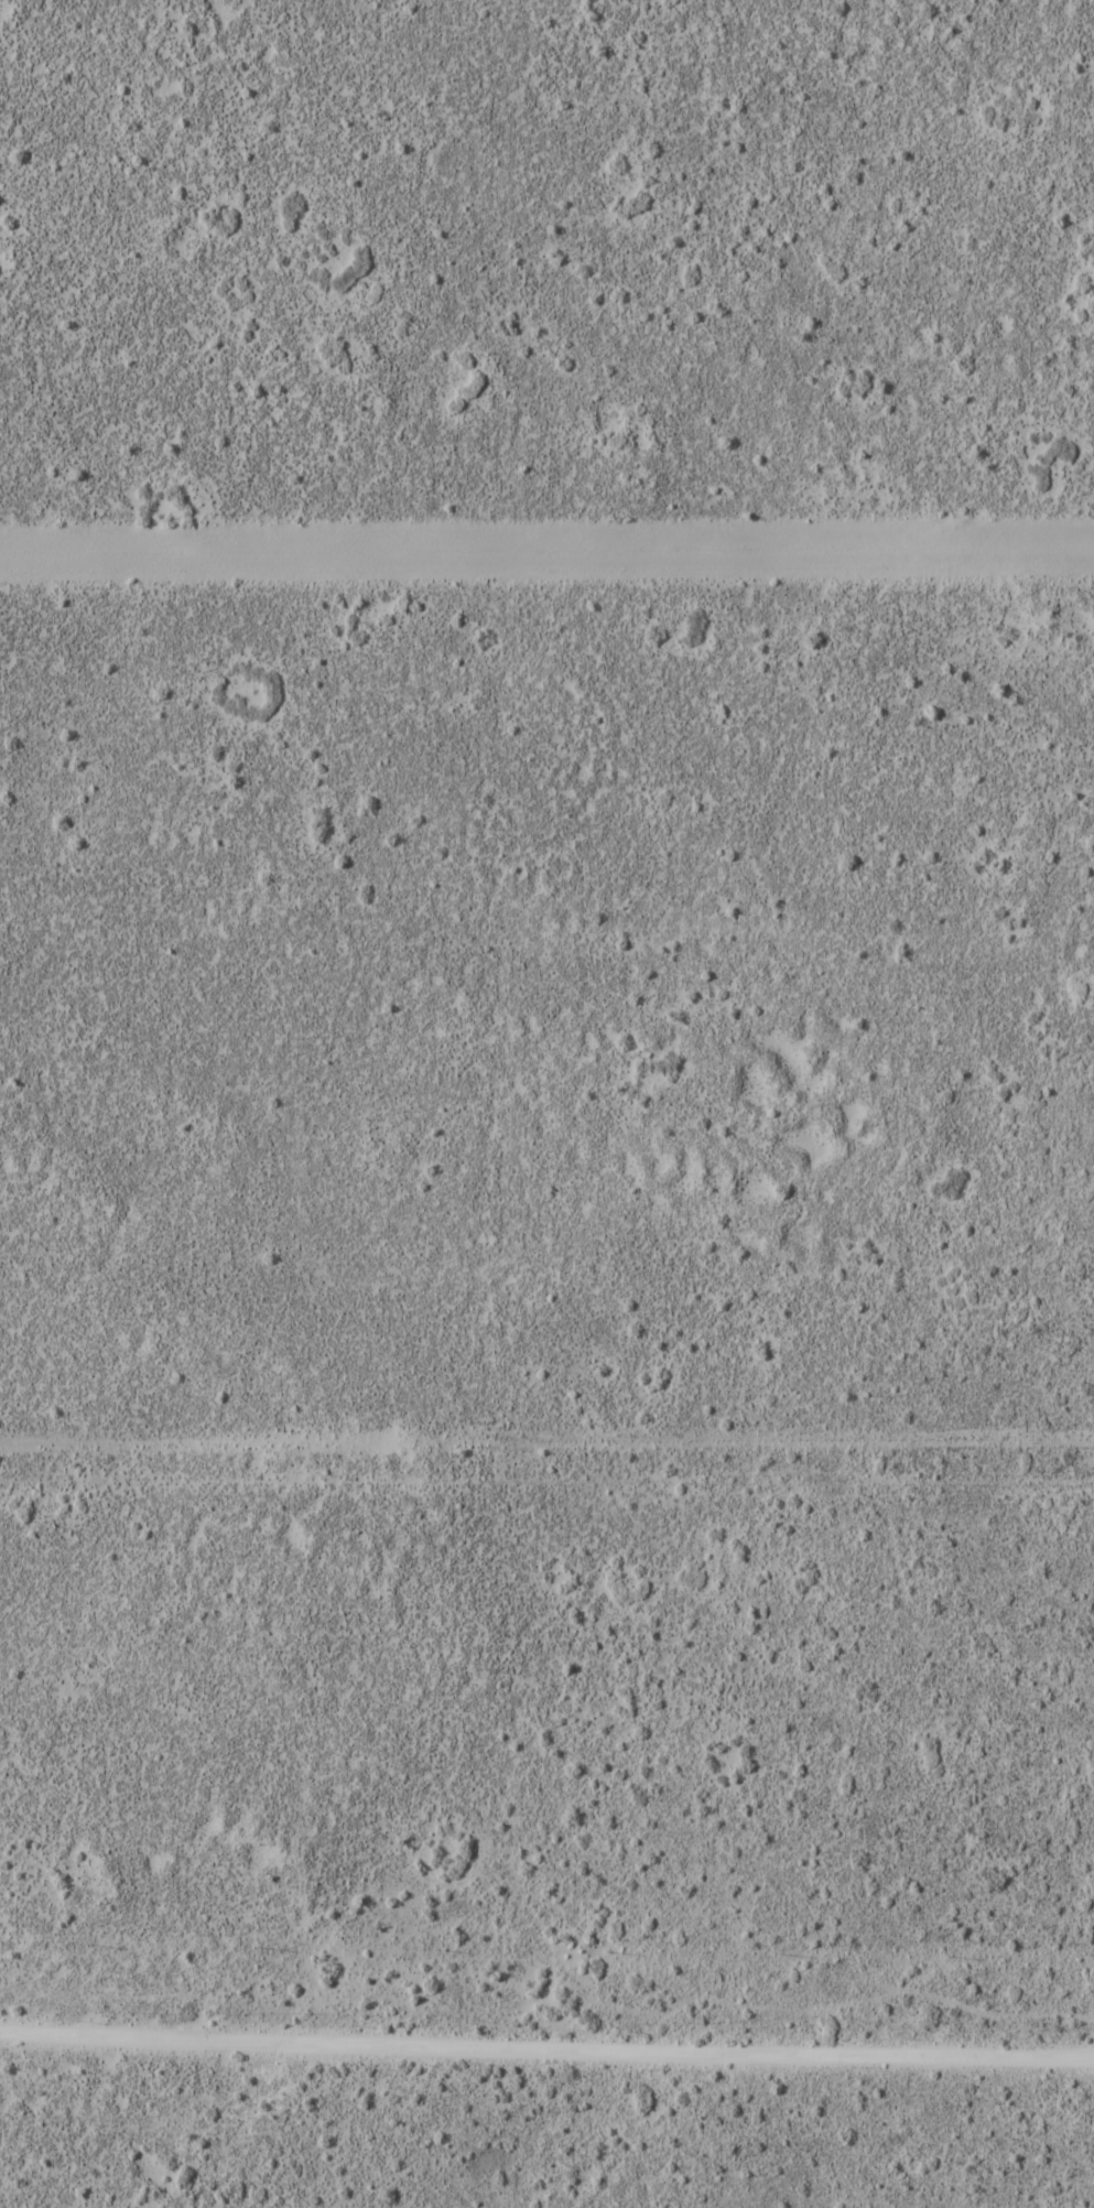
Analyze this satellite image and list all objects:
road: (546, 2045)

